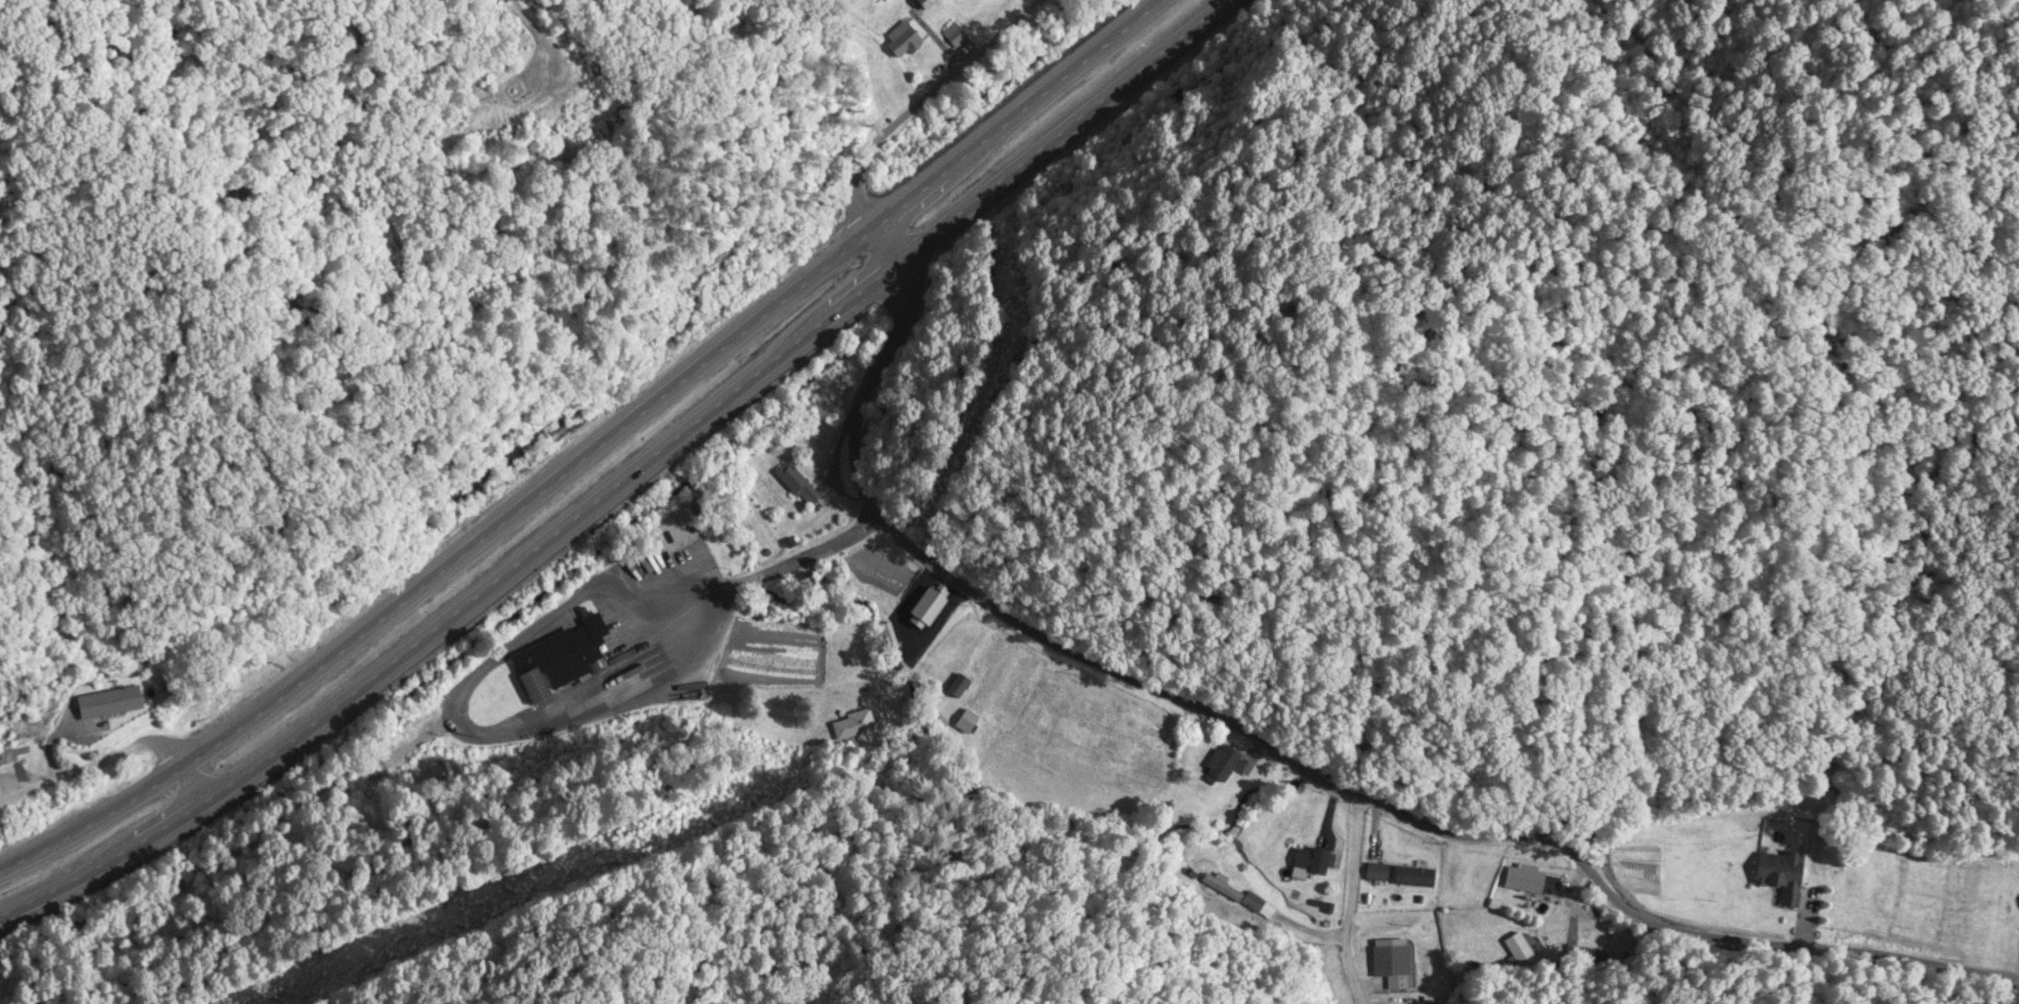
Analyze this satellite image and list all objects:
building: (927, 3)
road: (902, 120)
road: (591, 450)
road: (629, 478)
building: (798, 486)
building: (832, 579)
building: (559, 659)
building: (110, 704)
road: (117, 761)
building: (1226, 765)
road: (1269, 766)
building: (1782, 876)
building: (1533, 881)
building: (1520, 948)

